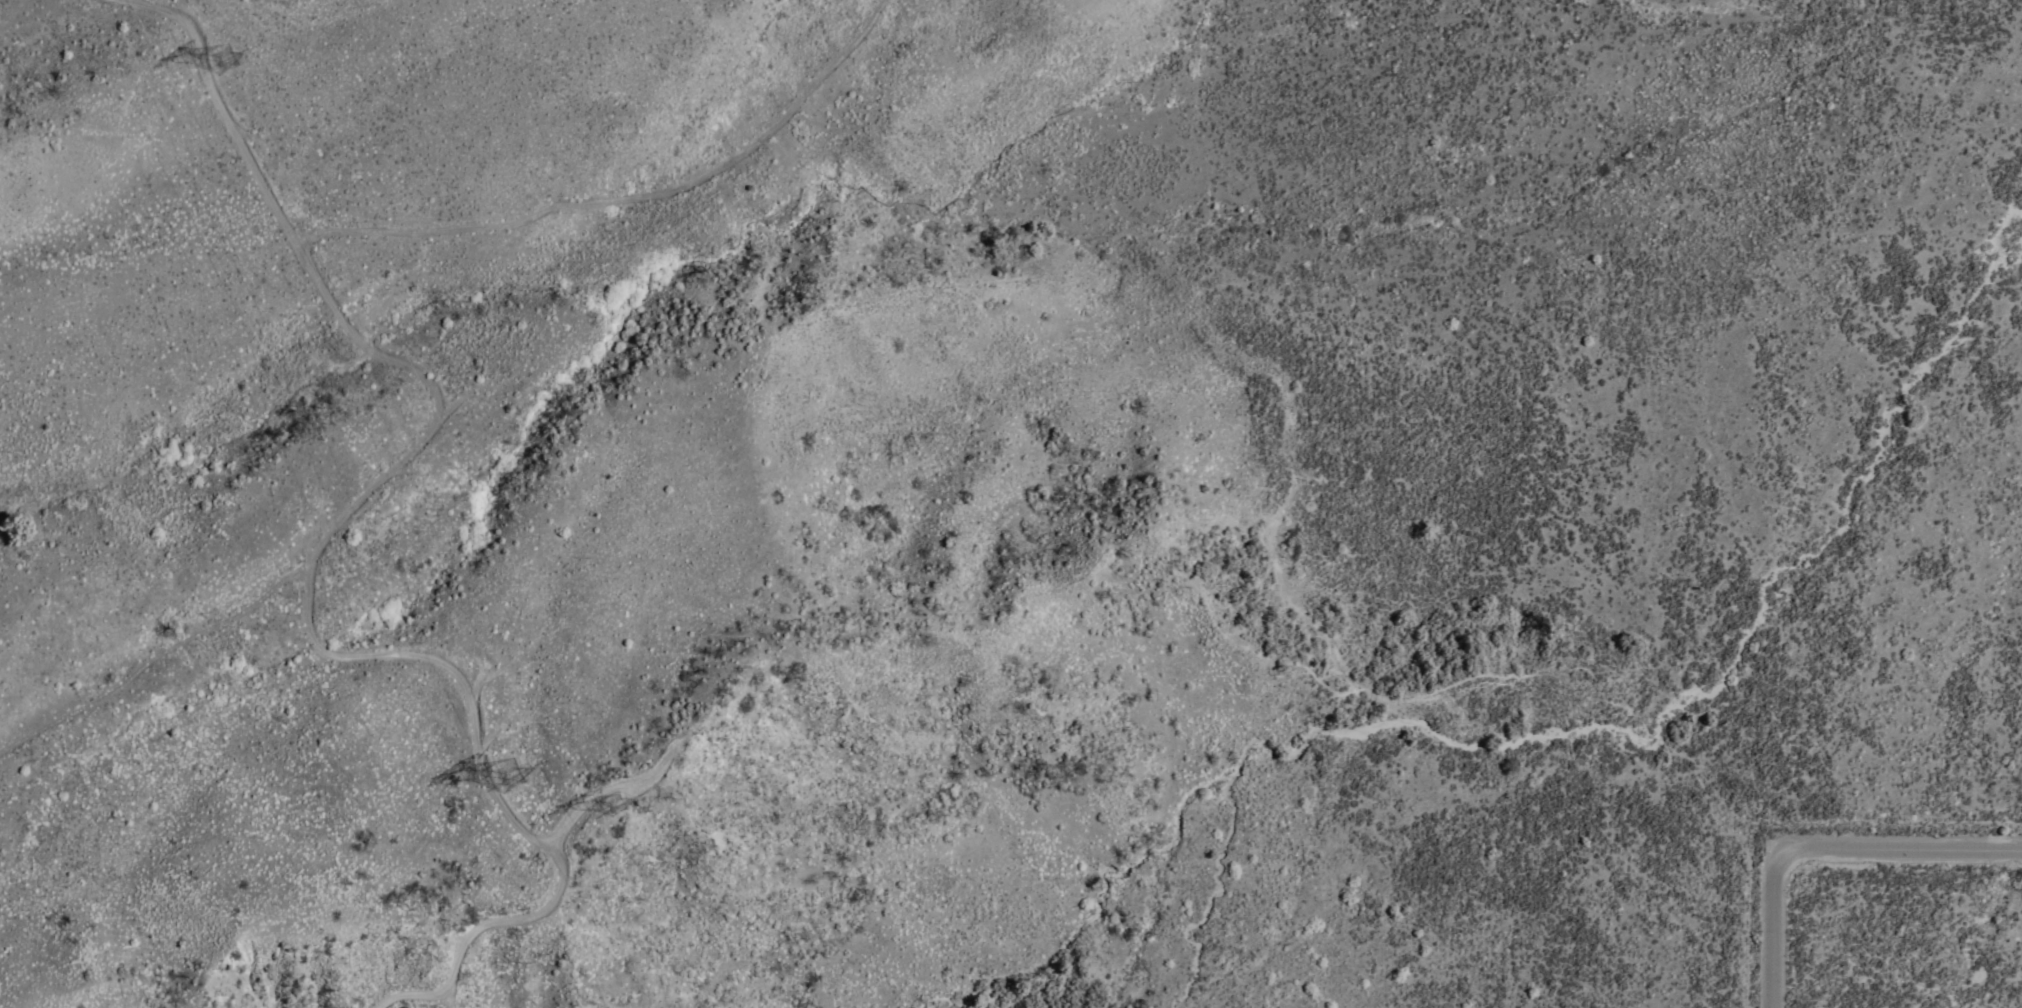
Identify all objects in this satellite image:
power tower: (220, 59)
road: (625, 200)
road: (436, 423)
road: (502, 765)
power tower: (500, 785)
power tower: (633, 794)
road: (1820, 852)

